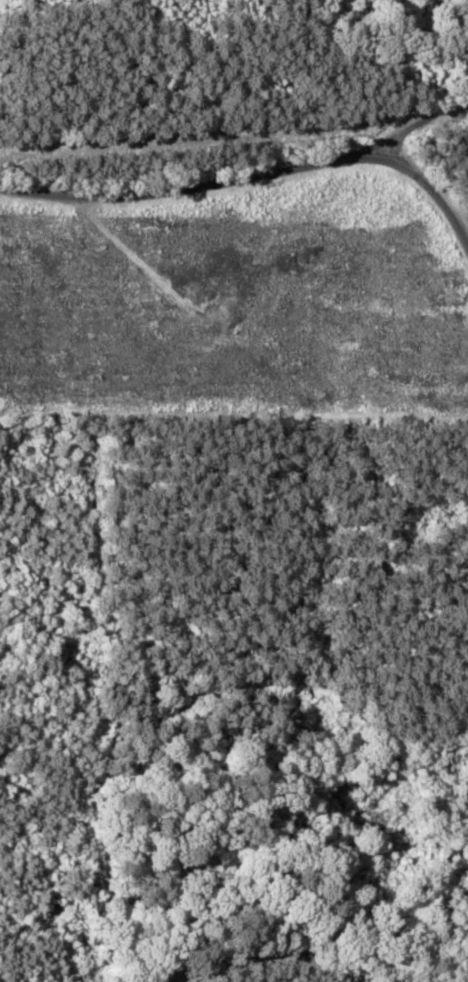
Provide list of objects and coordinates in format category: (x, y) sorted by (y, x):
road: (400, 152)
road: (248, 200)

